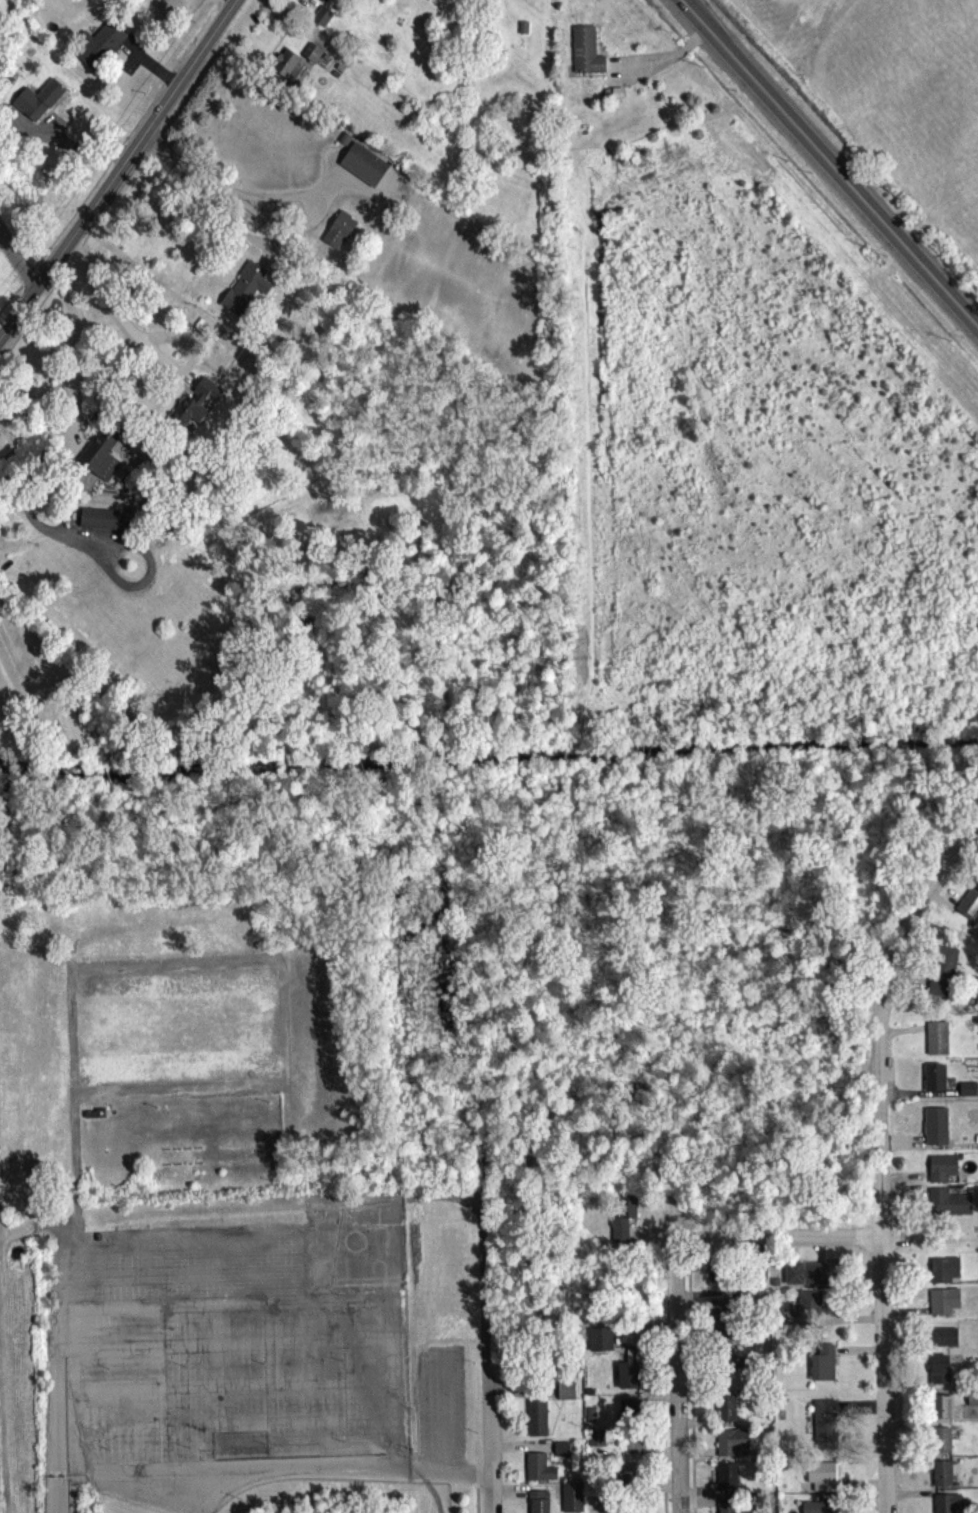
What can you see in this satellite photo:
building: (323, 1)
road: (677, 3)
building: (521, 32)
building: (98, 49)
building: (584, 56)
road: (659, 64)
building: (285, 69)
building: (612, 97)
building: (37, 104)
building: (363, 168)
road: (829, 170)
road: (119, 171)
road: (816, 175)
road: (226, 192)
building: (338, 234)
road: (19, 262)
building: (244, 293)
road: (112, 311)
road: (80, 357)
building: (195, 410)
building: (101, 458)
building: (98, 523)
road: (932, 876)
building: (968, 905)
road: (215, 964)
building: (940, 975)
building: (935, 1042)
building: (933, 1081)
building: (966, 1093)
building: (934, 1130)
building: (941, 1173)
building: (946, 1206)
building: (622, 1211)
road: (17, 1217)
road: (878, 1219)
building: (622, 1226)
road: (48, 1232)
road: (775, 1240)
road: (237, 1242)
building: (943, 1273)
building: (716, 1276)
building: (805, 1277)
road: (235, 1279)
road: (482, 1300)
building: (942, 1305)
building: (808, 1307)
road: (236, 1308)
building: (719, 1313)
parking lot: (242, 1339)
building: (943, 1341)
building: (599, 1343)
building: (719, 1344)
road: (236, 1350)
road: (56, 1366)
building: (821, 1367)
building: (938, 1373)
road: (673, 1376)
building: (627, 1379)
building: (731, 1379)
road: (689, 1388)
road: (237, 1391)
road: (660, 1392)
building: (564, 1395)
building: (972, 1402)
building: (940, 1411)
building: (627, 1412)
building: (724, 1413)
road: (440, 1417)
building: (536, 1421)
road: (237, 1426)
building: (824, 1428)
building: (594, 1442)
building: (939, 1444)
building: (632, 1445)
building: (730, 1446)
building: (560, 1453)
road: (488, 1456)
building: (537, 1471)
road: (272, 1472)
building: (941, 1478)
building: (725, 1480)
building: (820, 1481)
building: (624, 1482)
road: (474, 1495)
building: (570, 1499)
parking lot: (138, 1500)
building: (537, 1504)
building: (945, 1505)
building: (726, 1507)
road: (174, 1508)
building: (815, 1509)
building: (621, 1512)

